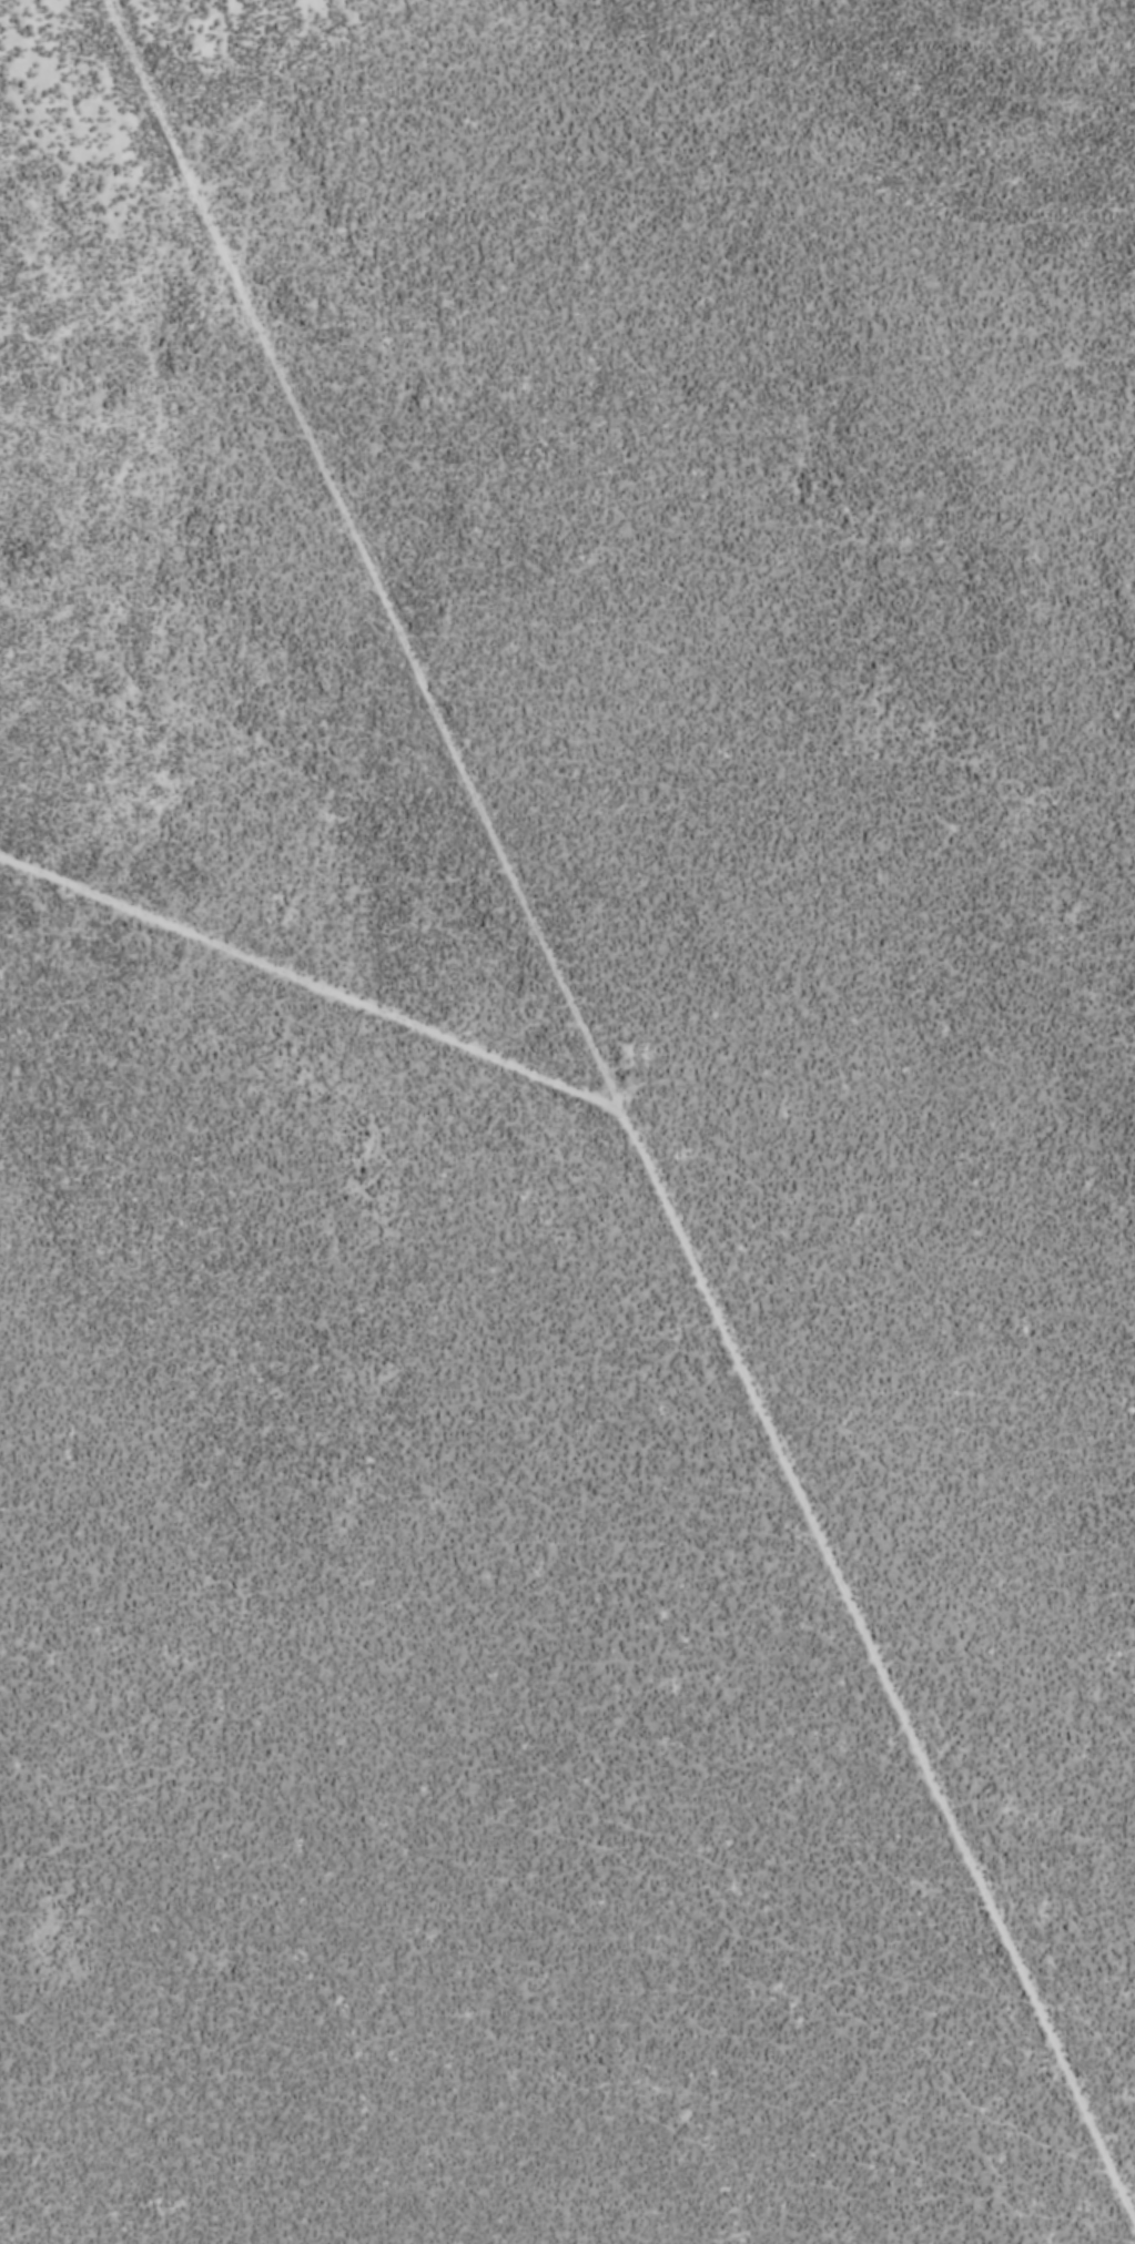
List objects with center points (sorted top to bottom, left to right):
road: (366, 552)
road: (310, 979)
road: (879, 1659)

